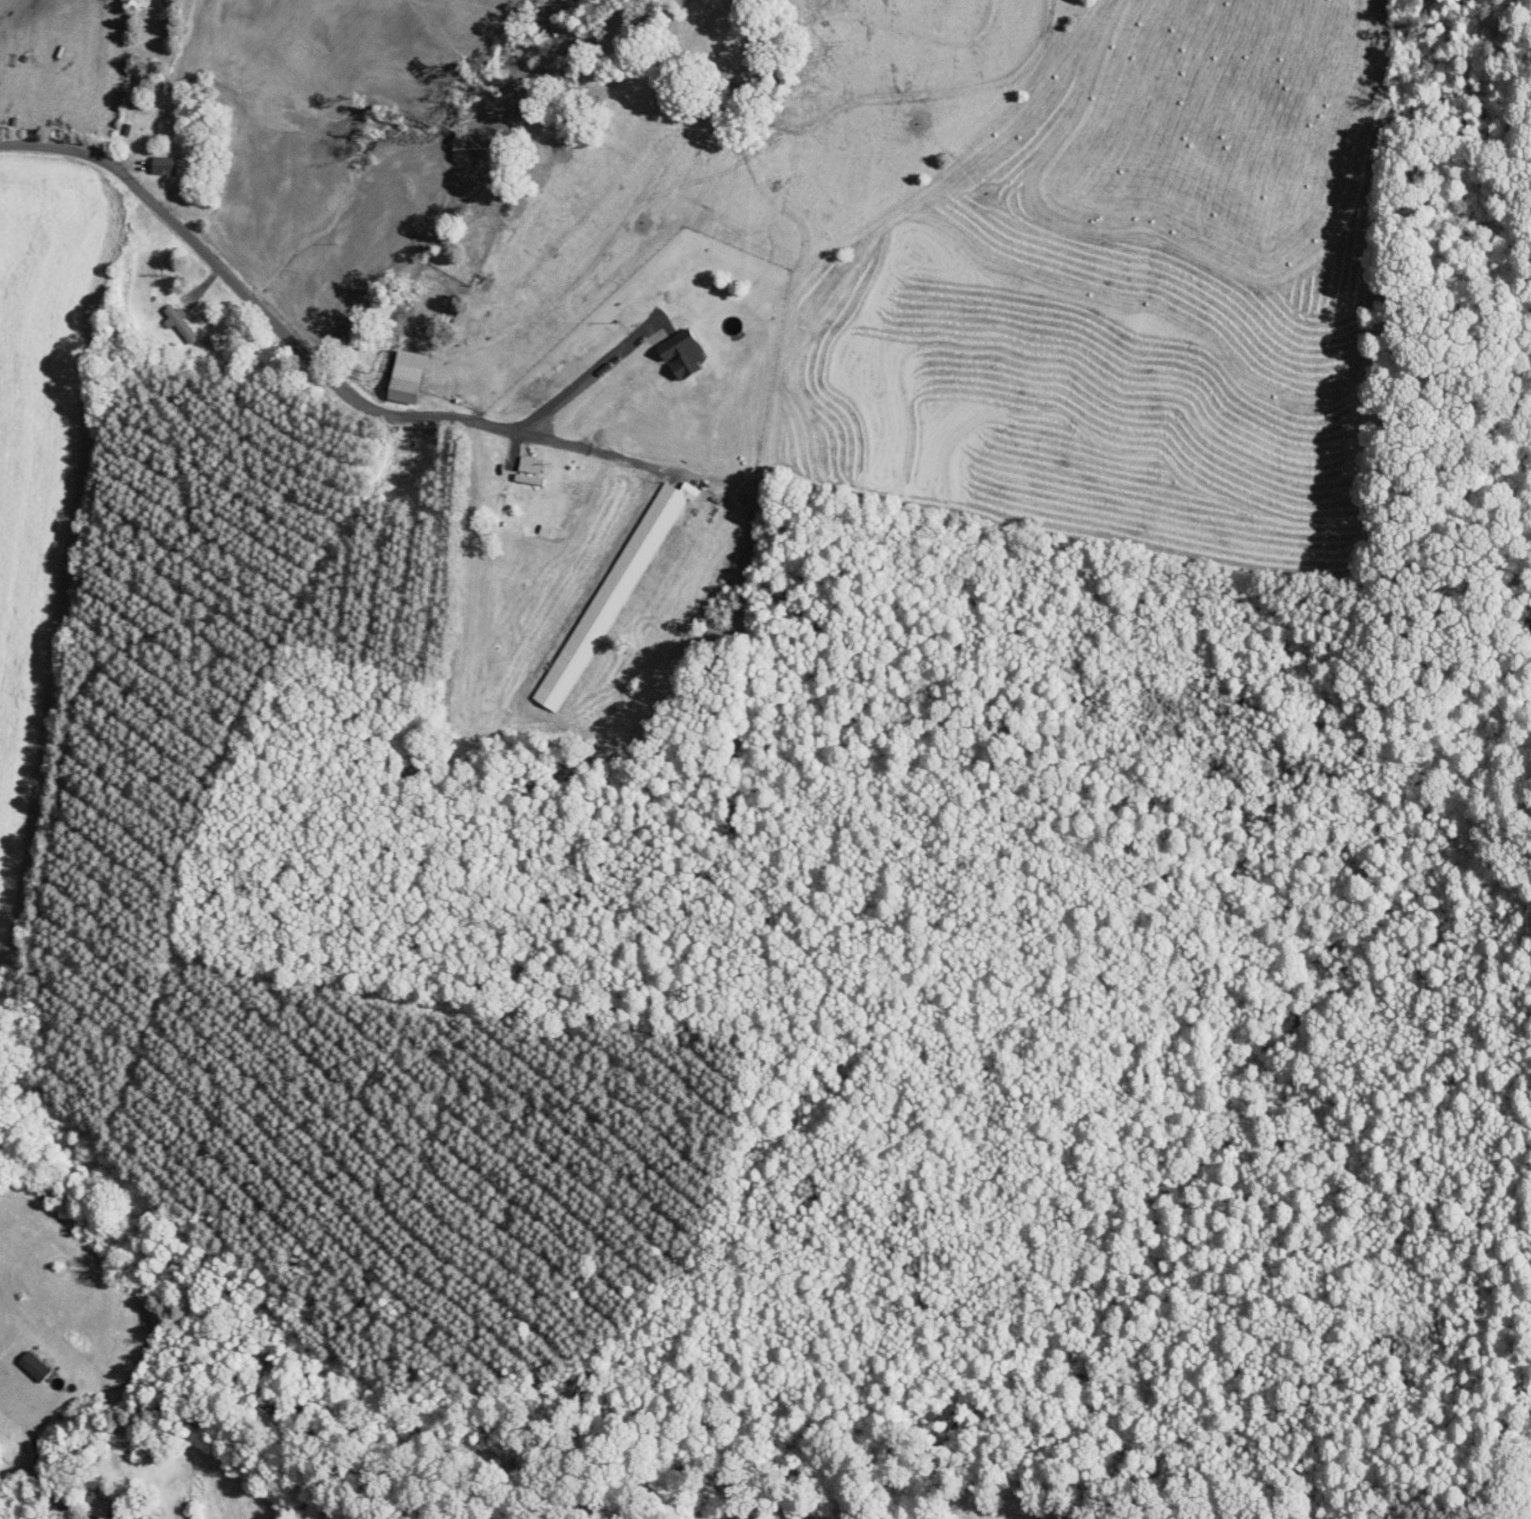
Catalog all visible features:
building: (165, 165)
road: (232, 287)
building: (683, 353)
building: (408, 377)
road: (572, 391)
road: (591, 449)
building: (573, 656)
building: (35, 1365)

